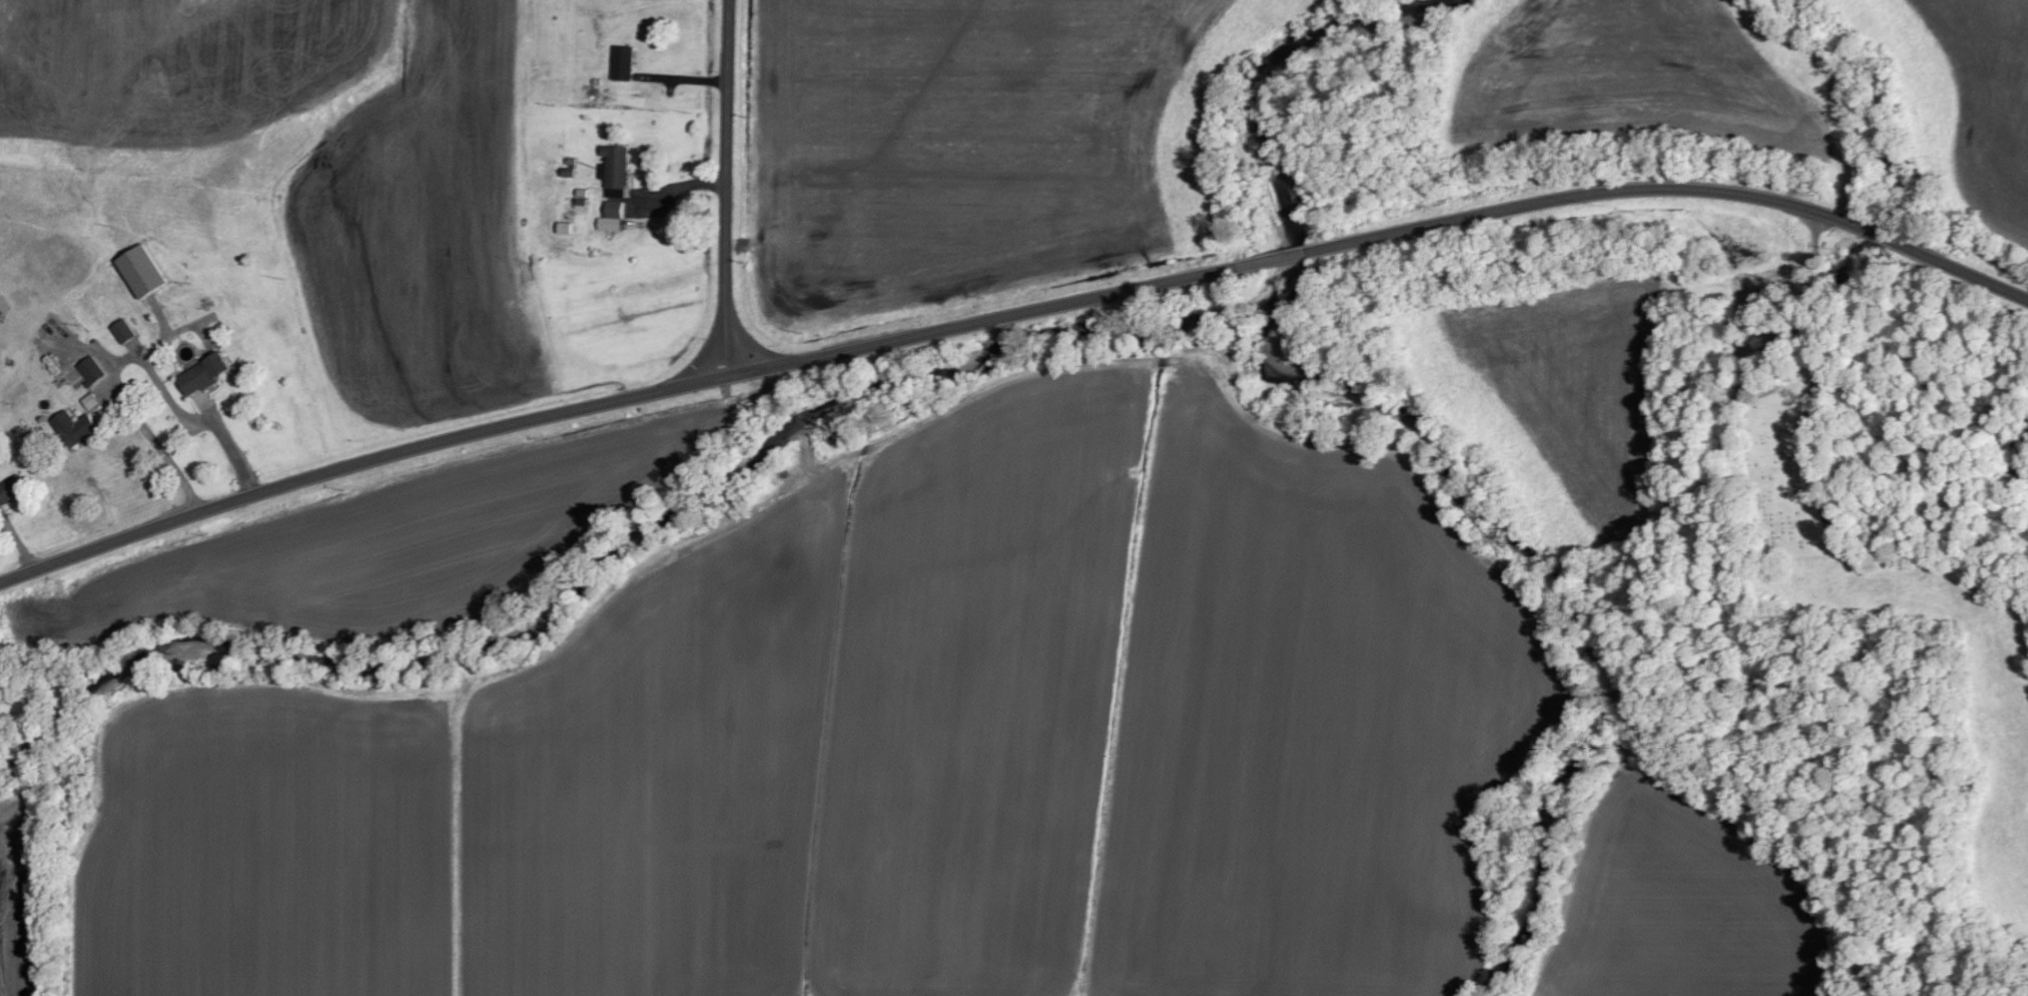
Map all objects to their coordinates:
building: (628, 63)
building: (619, 186)
road: (729, 206)
building: (148, 272)
road: (1011, 317)
building: (129, 331)
road: (711, 349)
building: (97, 370)
building: (211, 374)
building: (97, 401)
building: (81, 428)
park: (1775, 471)
building: (13, 490)

